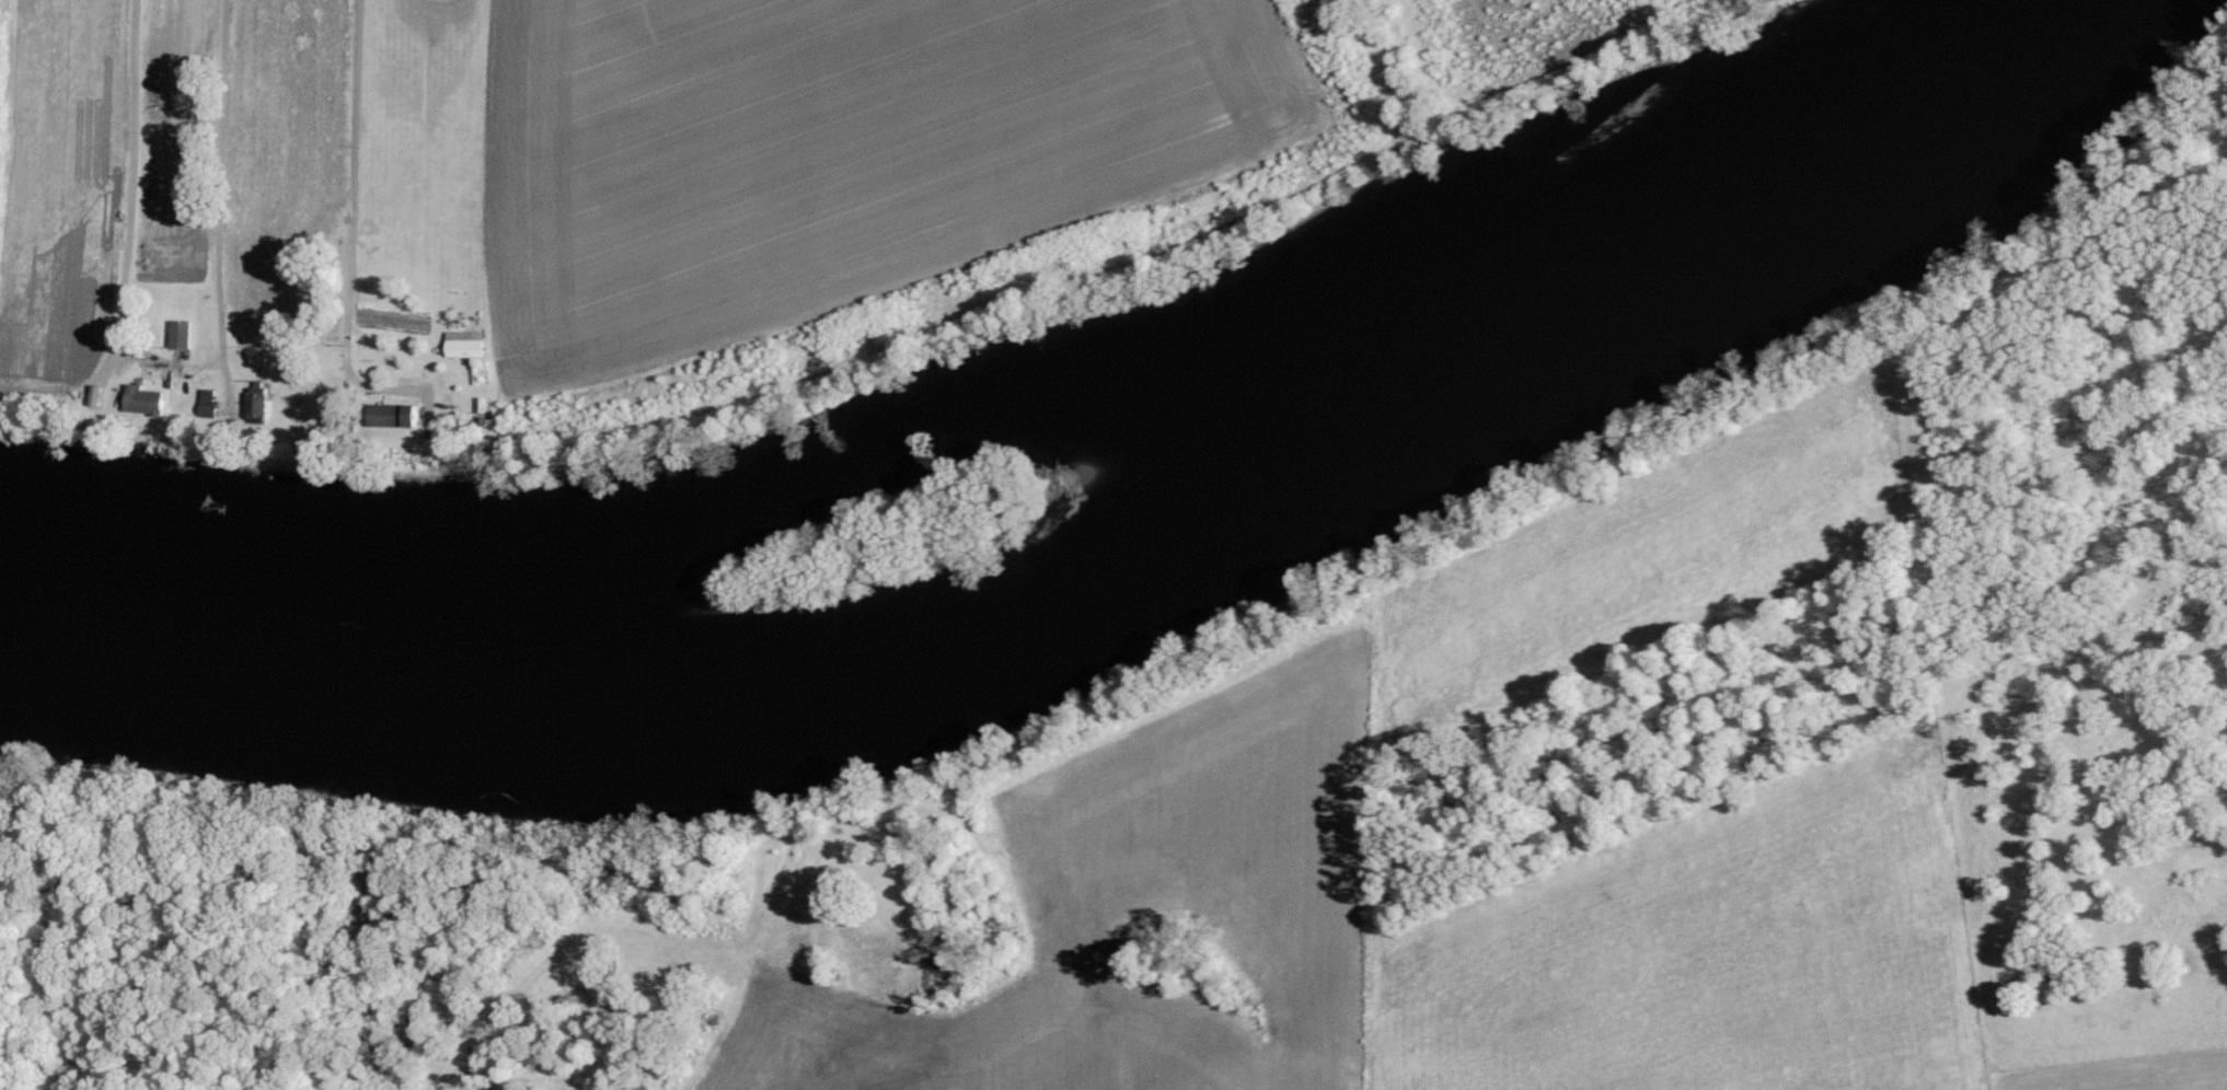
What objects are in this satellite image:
road: (219, 206)
road: (131, 208)
road: (353, 216)
building: (182, 334)
building: (465, 343)
building: (148, 401)
building: (209, 404)
building: (258, 404)
building: (395, 415)
river: (1082, 580)

